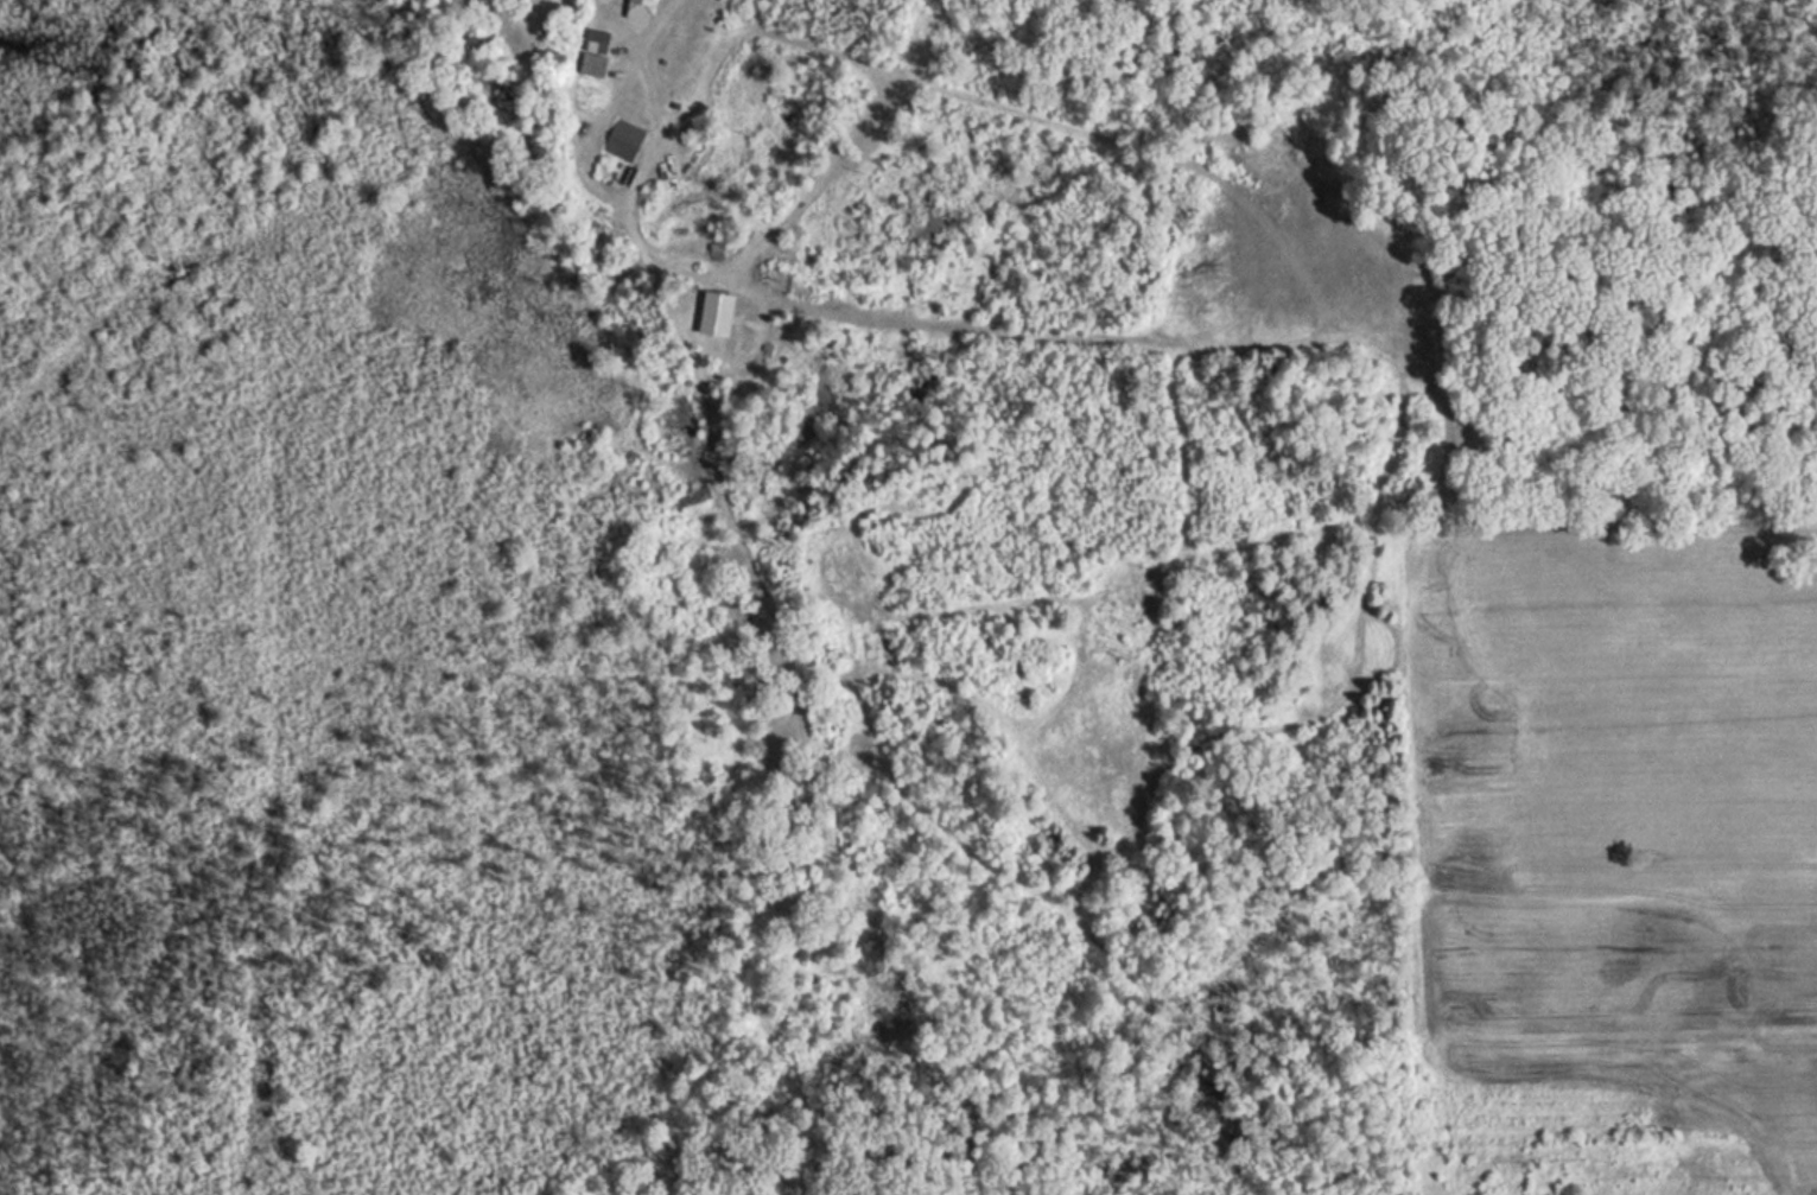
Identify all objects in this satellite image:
building: (636, 8)
building: (592, 52)
building: (622, 139)

